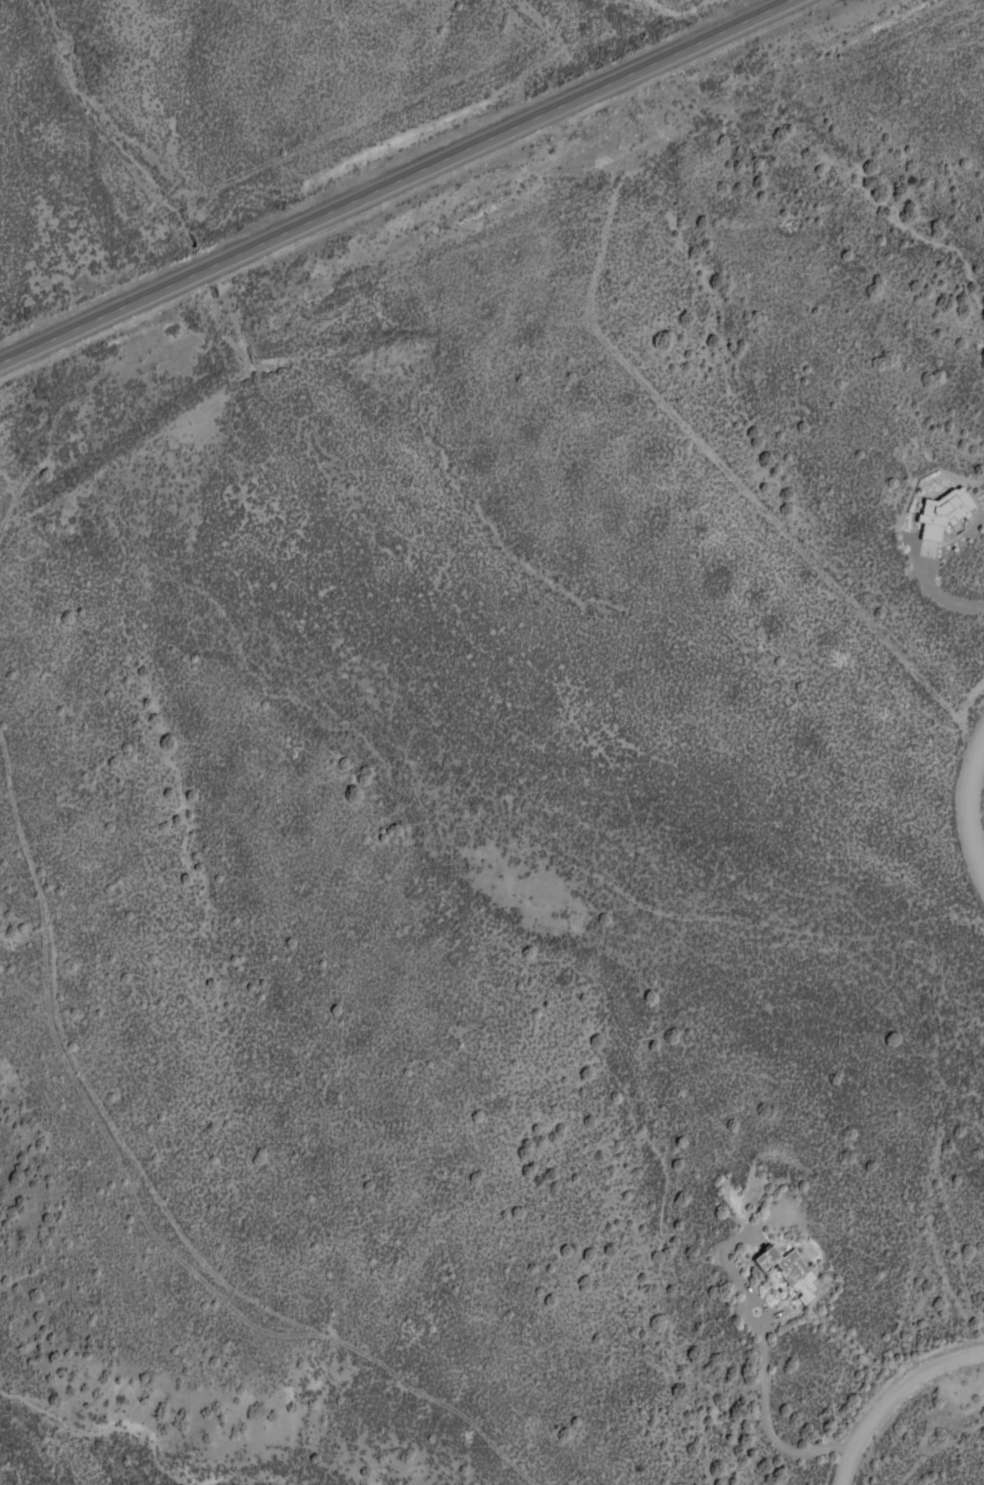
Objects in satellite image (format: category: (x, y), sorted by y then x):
road: (392, 179)
road: (965, 806)
building: (796, 1273)
road: (887, 1393)

